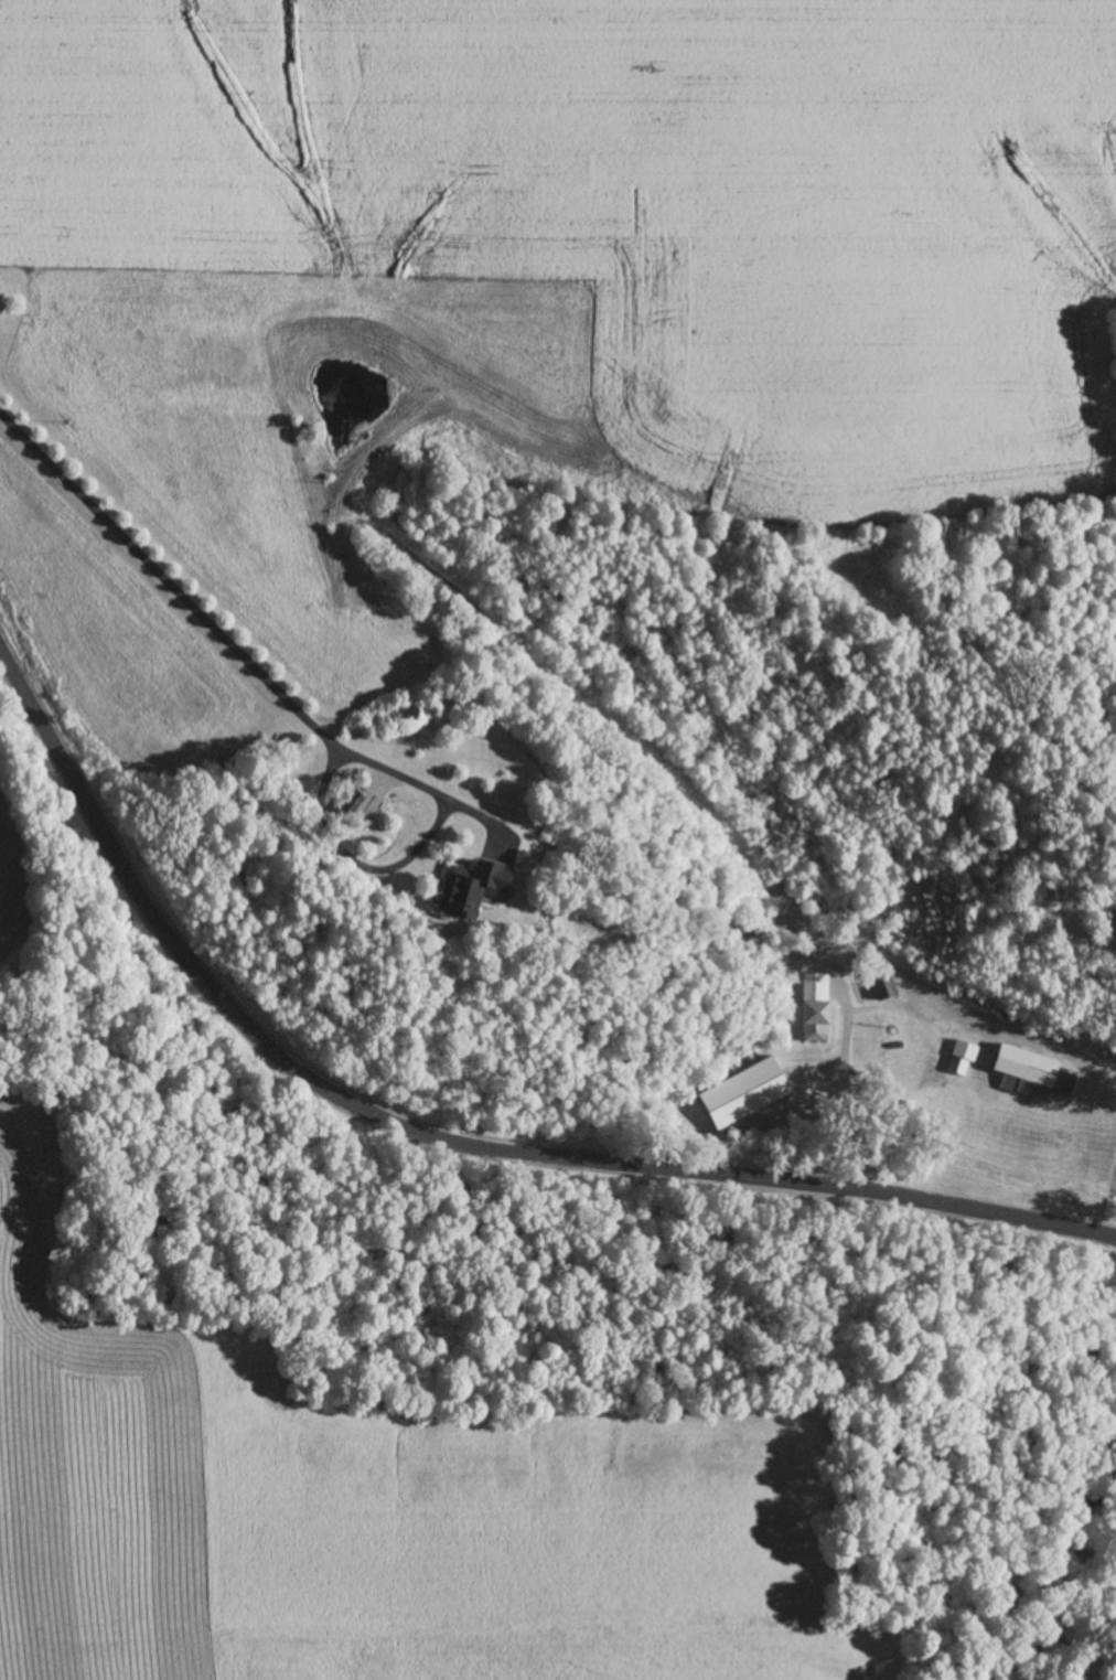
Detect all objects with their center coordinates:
road: (238, 653)
building: (464, 889)
building: (812, 1007)
building: (1002, 1063)
building: (741, 1093)
road: (846, 1094)
road: (443, 1124)

